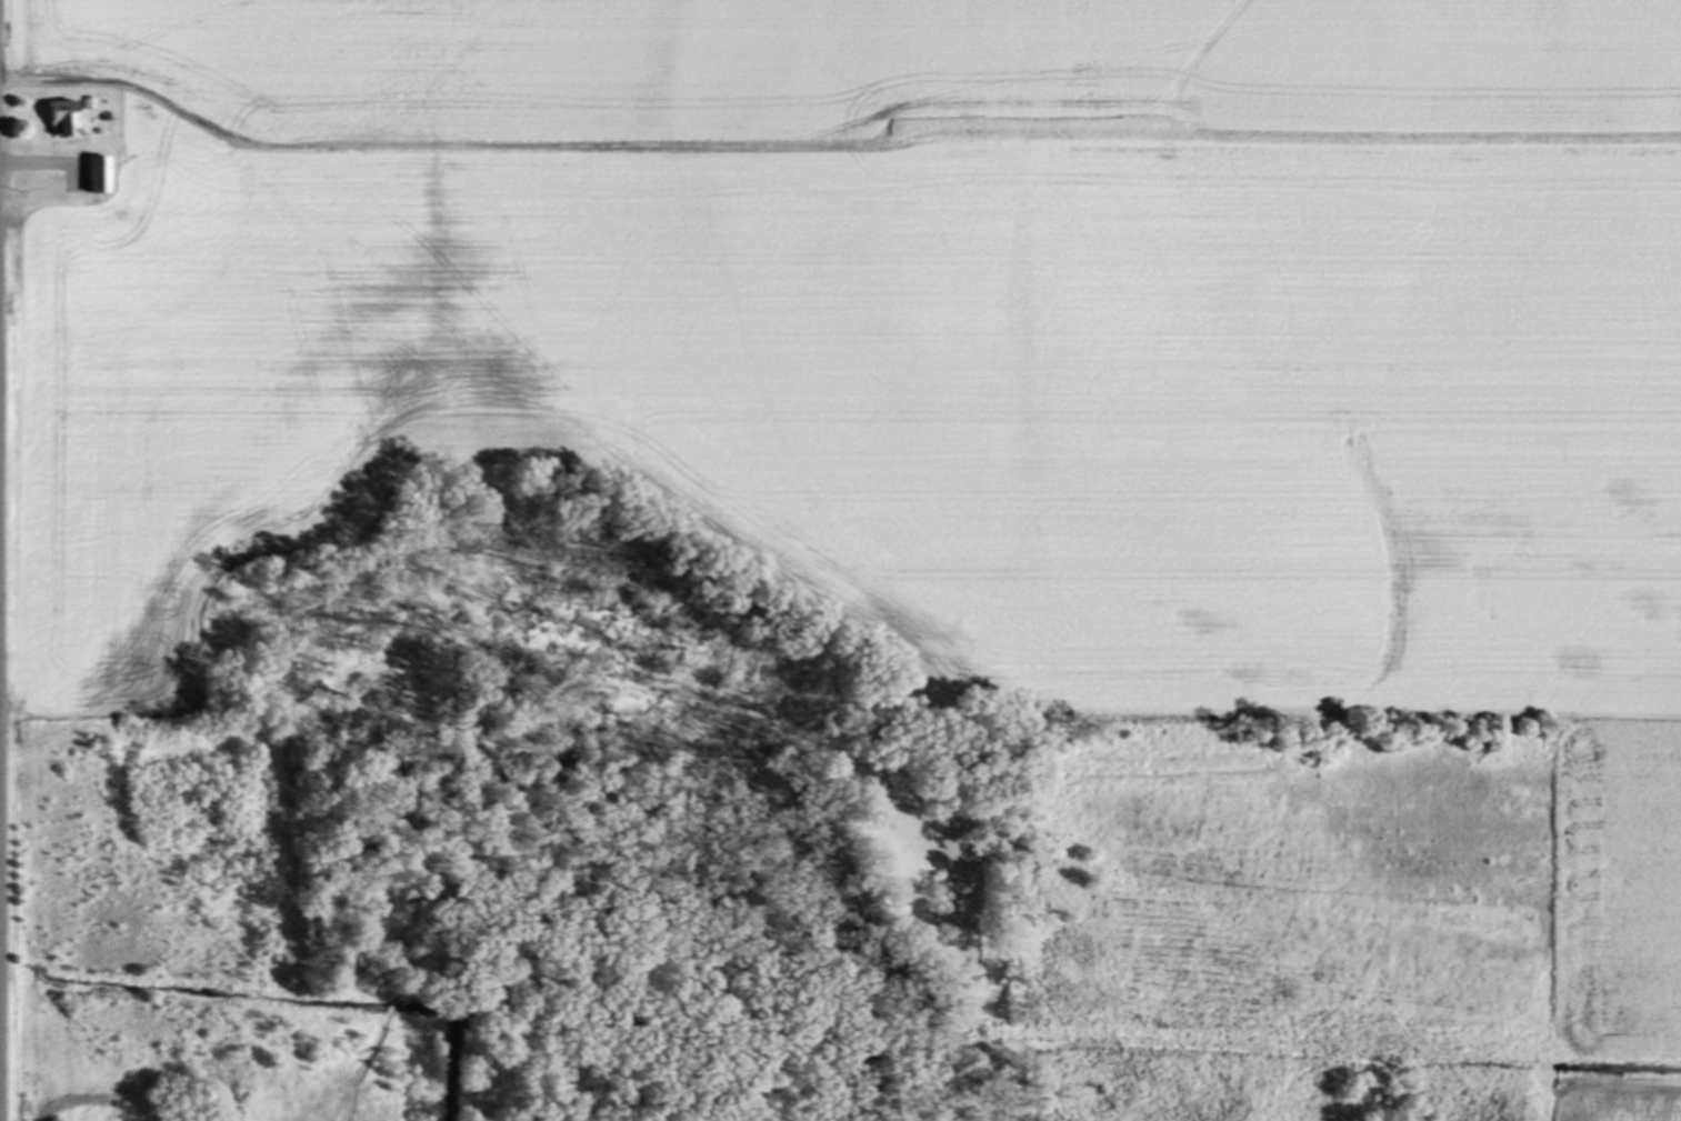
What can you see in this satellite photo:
building: (66, 121)
road: (34, 163)
building: (97, 176)

